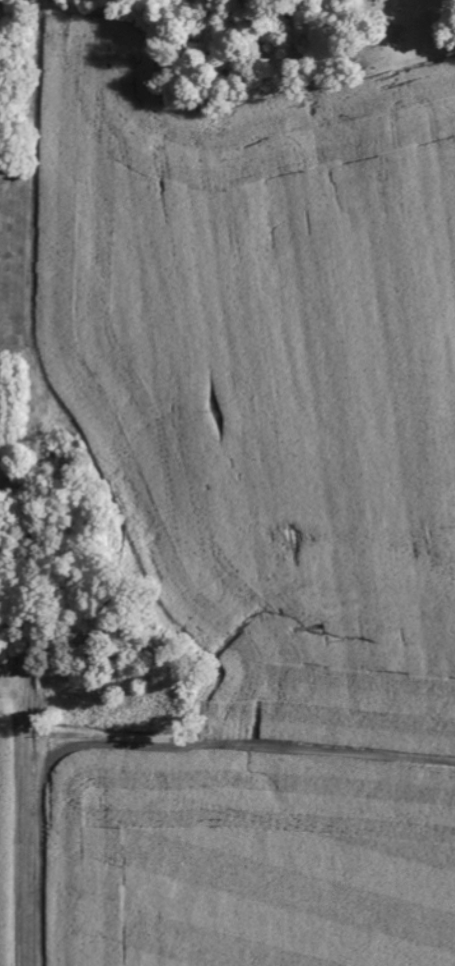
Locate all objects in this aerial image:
road: (33, 184)

